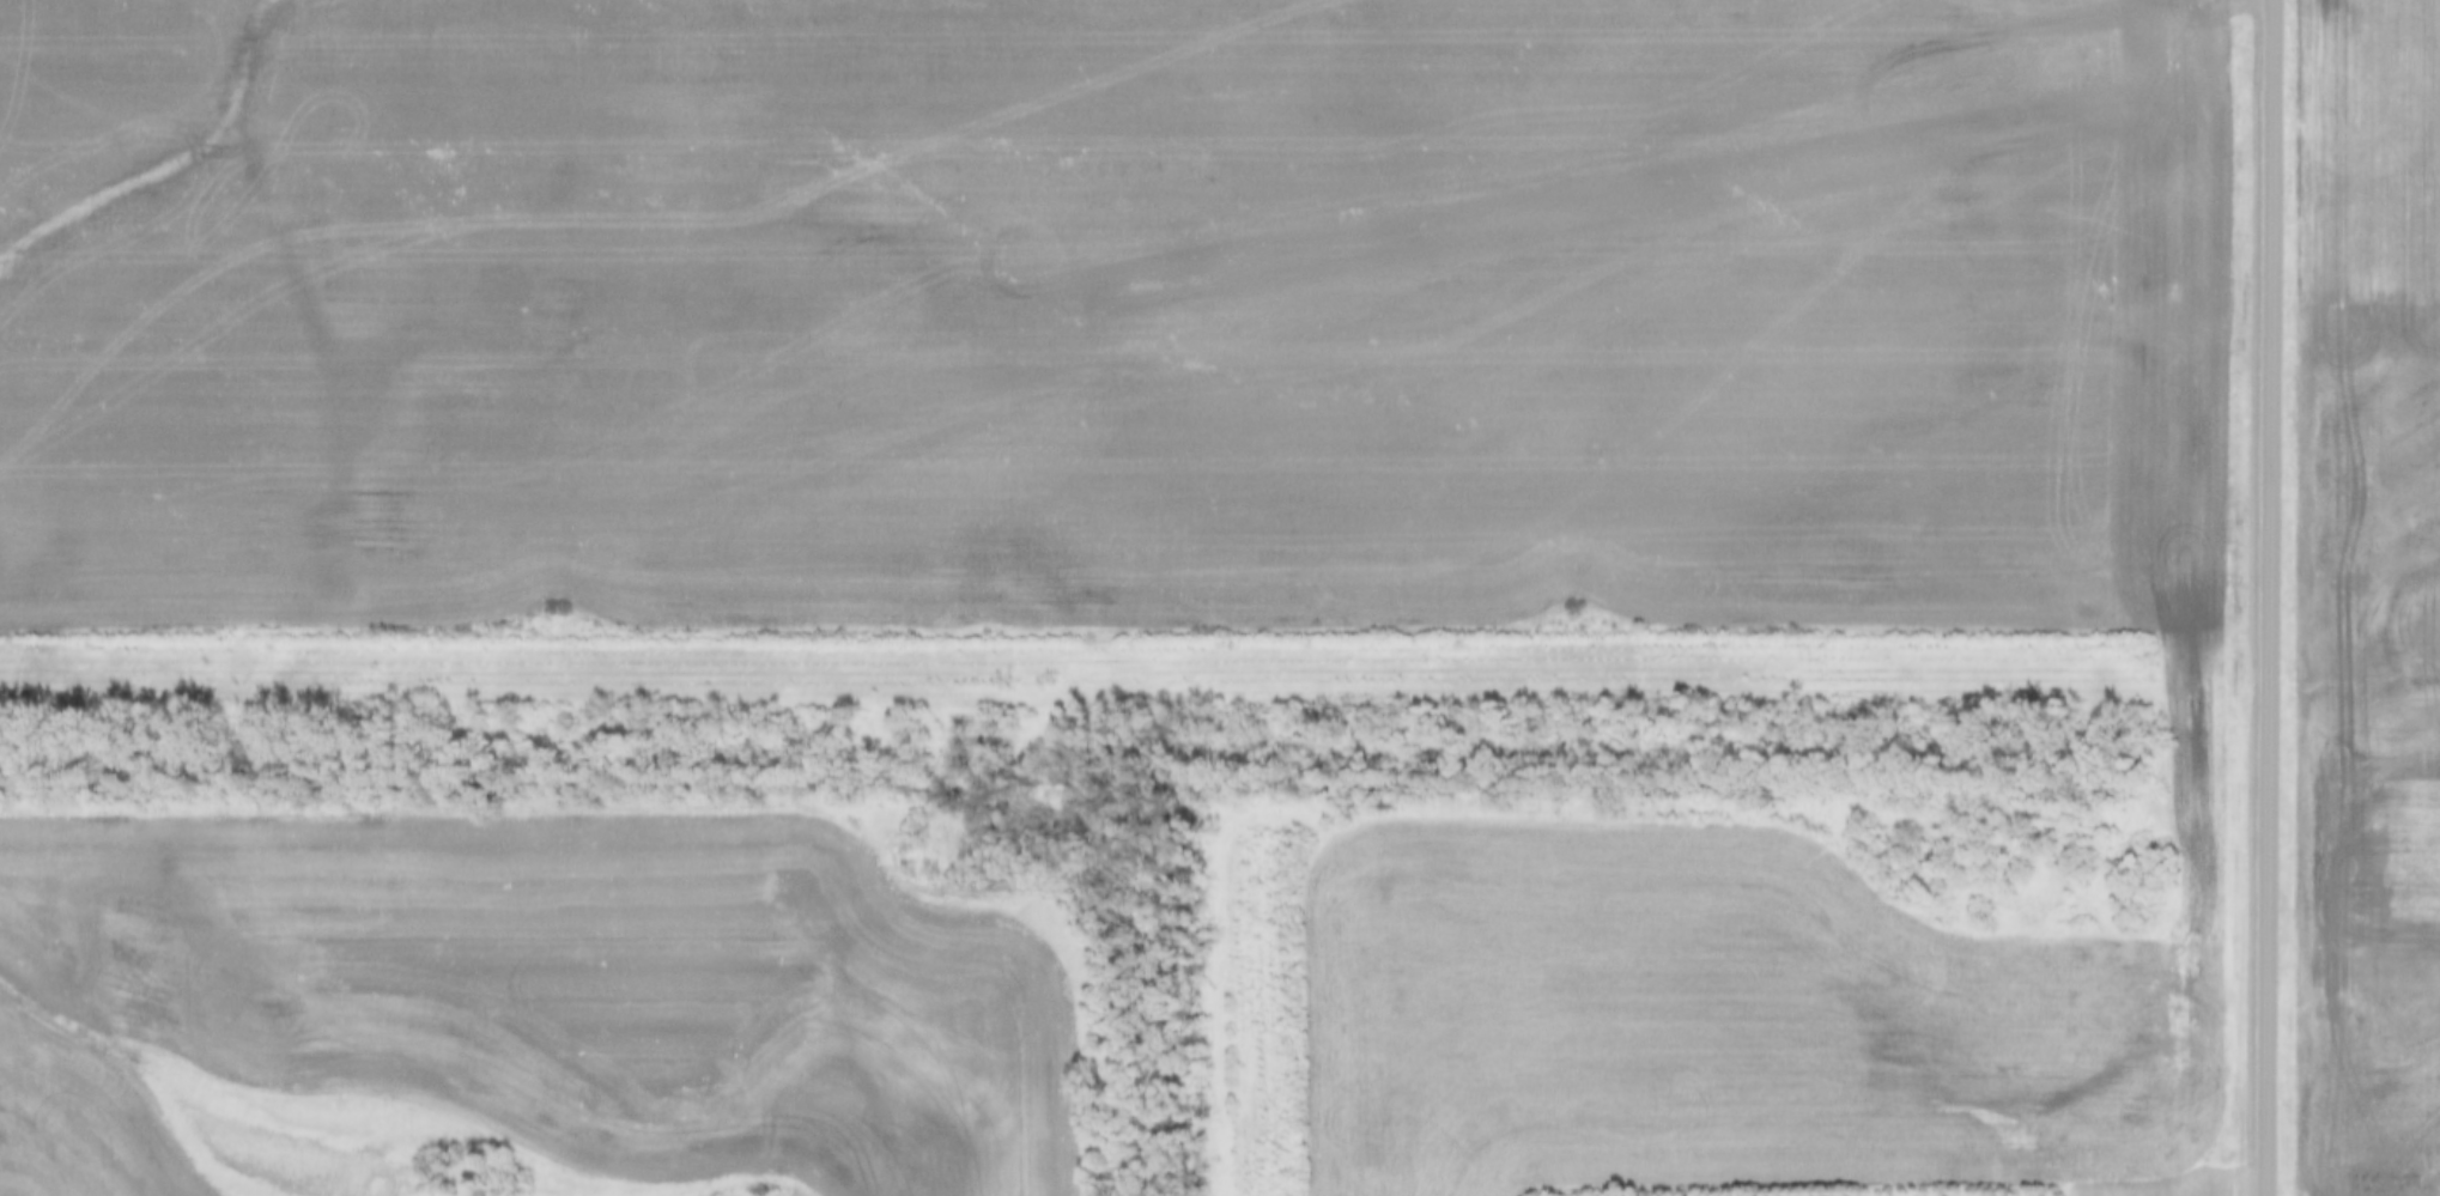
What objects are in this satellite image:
road: (2274, 597)

